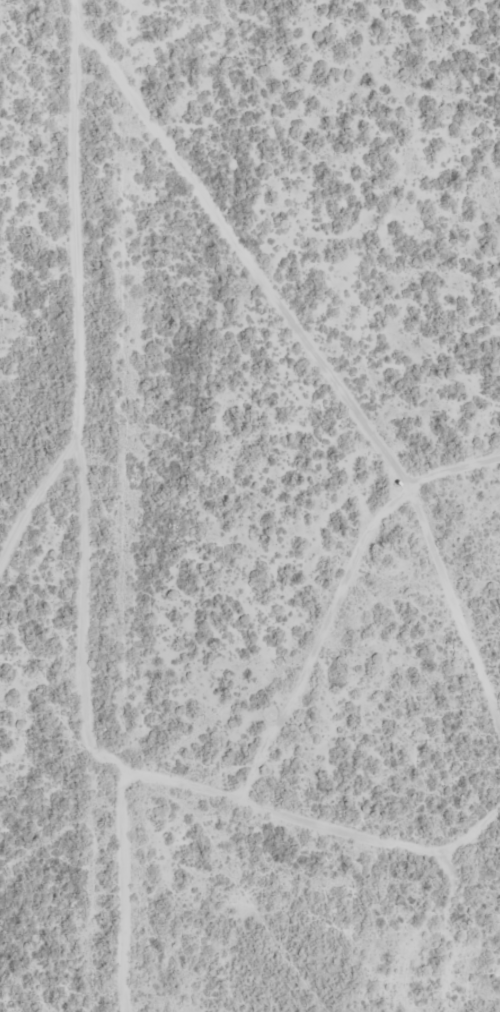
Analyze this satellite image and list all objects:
road: (160, 41)
road: (91, 293)
road: (98, 733)

